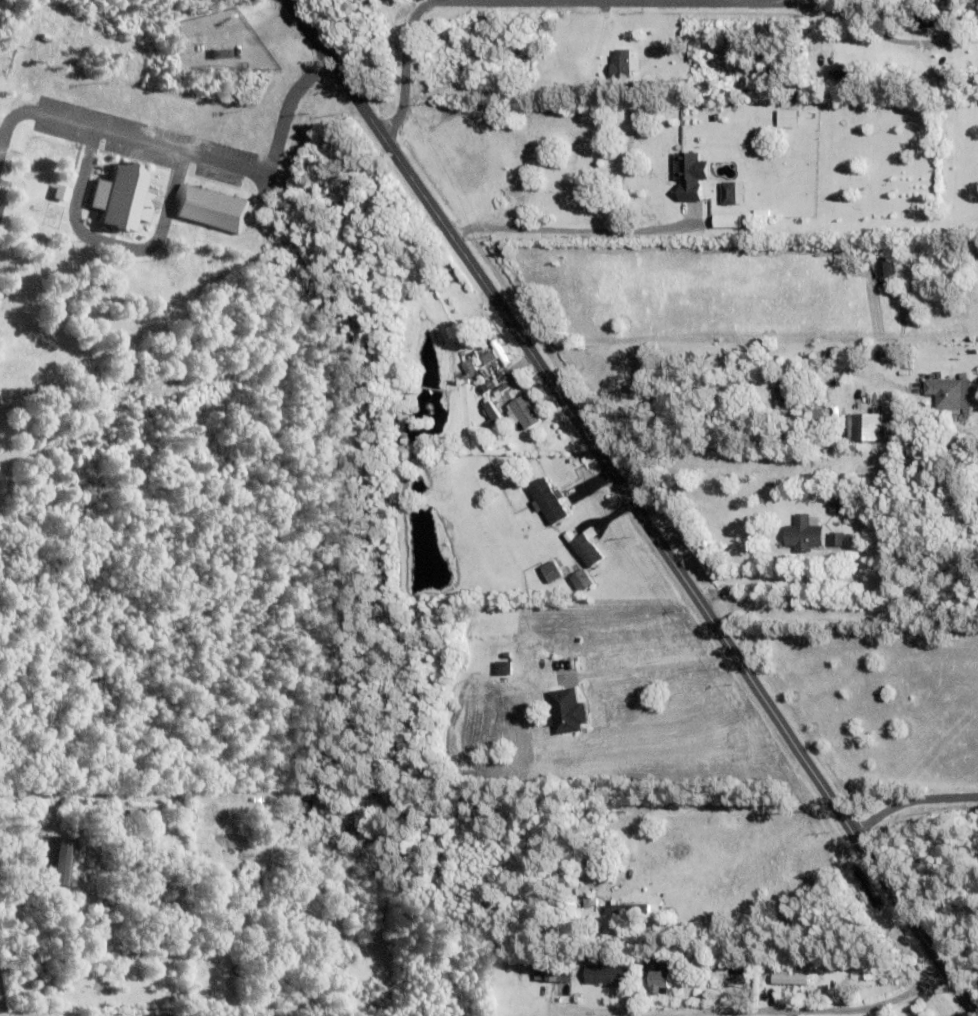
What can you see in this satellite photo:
road: (463, 1)
road: (598, 1)
road: (790, 4)
building: (924, 22)
road: (411, 30)
road: (801, 46)
building: (218, 52)
building: (622, 61)
building: (940, 71)
building: (851, 72)
road: (578, 93)
building: (787, 104)
building: (785, 118)
building: (543, 122)
road: (182, 154)
building: (692, 172)
building: (730, 191)
building: (58, 192)
building: (120, 197)
building: (208, 207)
building: (725, 220)
road: (567, 230)
building: (418, 244)
building: (885, 267)
building: (475, 323)
building: (497, 352)
building: (488, 356)
building: (467, 365)
building: (474, 374)
building: (963, 374)
road: (733, 382)
building: (486, 385)
building: (501, 386)
building: (832, 393)
building: (949, 393)
building: (754, 398)
building: (499, 402)
building: (800, 406)
building: (492, 411)
building: (522, 411)
building: (817, 413)
building: (865, 424)
building: (549, 498)
building: (837, 503)
road: (634, 506)
building: (804, 532)
building: (837, 538)
building: (587, 549)
building: (552, 571)
building: (582, 579)
road: (771, 583)
building: (503, 667)
road: (652, 667)
building: (567, 710)
road: (910, 800)
building: (56, 861)
building: (112, 897)
building: (135, 902)
building: (591, 903)
building: (615, 908)
building: (682, 957)
building: (554, 973)
building: (608, 974)
building: (660, 977)
building: (689, 979)
building: (787, 979)
road: (766, 1011)

